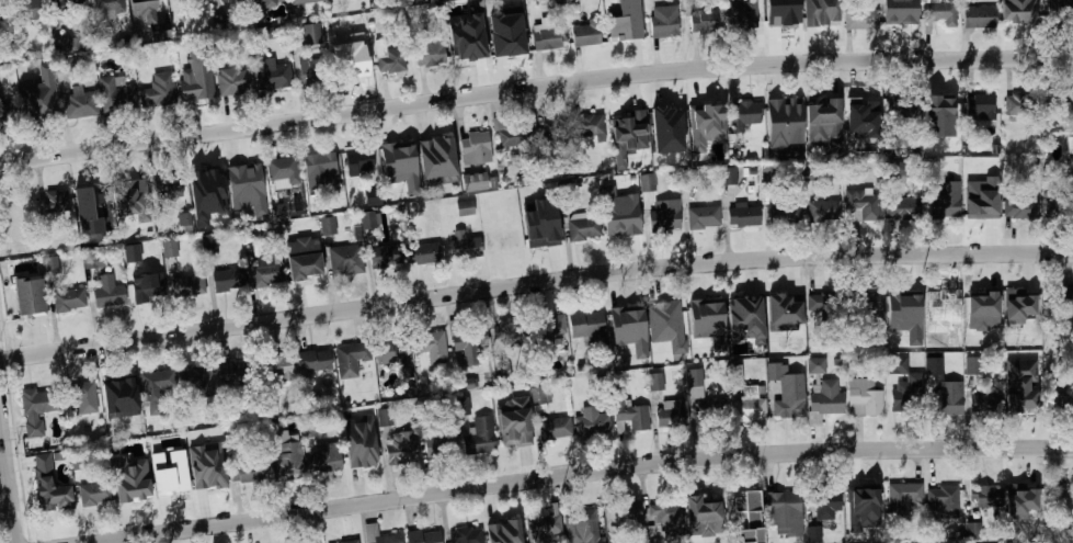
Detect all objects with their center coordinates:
building: (145, 2)
building: (264, 3)
building: (299, 3)
building: (1061, 4)
building: (66, 7)
building: (23, 8)
building: (109, 11)
building: (1016, 11)
building: (939, 13)
building: (741, 14)
building: (818, 14)
building: (900, 15)
building: (978, 15)
building: (780, 16)
building: (861, 19)
building: (700, 20)
building: (663, 22)
building: (624, 30)
building: (507, 34)
building: (310, 35)
building: (585, 36)
building: (467, 37)
building: (527, 41)
building: (62, 43)
building: (431, 53)
building: (386, 58)
building: (65, 65)
building: (352, 65)
building: (310, 69)
building: (272, 76)
building: (232, 80)
road: (534, 84)
building: (194, 87)
building: (158, 90)
building: (115, 93)
building: (34, 102)
building: (80, 104)
building: (865, 104)
building: (1017, 104)
building: (979, 105)
building: (939, 106)
building: (821, 108)
building: (899, 108)
building: (1061, 111)
building: (746, 112)
building: (703, 114)
building: (1, 116)
building: (628, 123)
building: (781, 123)
building: (587, 126)
building: (667, 129)
building: (550, 133)
building: (509, 135)
building: (475, 148)
building: (436, 152)
building: (1071, 155)
building: (397, 156)
building: (357, 160)
building: (320, 165)
building: (810, 171)
building: (282, 172)
building: (895, 173)
building: (242, 174)
building: (728, 174)
building: (476, 181)
building: (646, 182)
building: (206, 184)
building: (168, 186)
building: (129, 193)
building: (373, 196)
building: (90, 197)
building: (524, 197)
building: (944, 200)
building: (52, 203)
building: (860, 204)
building: (1052, 204)
building: (981, 206)
building: (465, 207)
building: (903, 207)
building: (1019, 208)
building: (281, 211)
building: (823, 211)
building: (783, 214)
building: (664, 215)
building: (742, 215)
building: (11, 216)
building: (703, 217)
building: (184, 218)
building: (368, 219)
building: (623, 222)
building: (328, 225)
building: (582, 228)
building: (545, 235)
building: (501, 241)
building: (208, 244)
building: (463, 246)
building: (170, 248)
building: (130, 253)
building: (422, 254)
building: (385, 256)
building: (94, 259)
building: (344, 260)
building: (50, 264)
building: (305, 264)
building: (265, 271)
building: (227, 281)
road: (534, 283)
building: (187, 285)
building: (147, 286)
building: (107, 292)
building: (1064, 292)
building: (983, 295)
building: (22, 296)
building: (1020, 297)
building: (68, 299)
building: (941, 301)
building: (904, 303)
building: (866, 304)
building: (824, 305)
building: (783, 306)
building: (705, 309)
building: (738, 313)
building: (670, 318)
building: (586, 326)
building: (630, 329)
building: (549, 330)
building: (509, 332)
building: (465, 340)
building: (933, 340)
building: (431, 347)
building: (390, 351)
building: (350, 359)
building: (312, 361)
building: (897, 364)
building: (815, 365)
building: (934, 365)
building: (972, 365)
building: (277, 367)
building: (230, 373)
building: (196, 378)
building: (657, 381)
building: (695, 384)
building: (155, 386)
building: (118, 387)
building: (906, 391)
building: (540, 395)
building: (83, 397)
building: (863, 397)
building: (823, 399)
building: (499, 400)
building: (1061, 401)
building: (1019, 403)
building: (37, 404)
building: (906, 404)
building: (946, 405)
building: (270, 406)
building: (460, 406)
building: (979, 406)
building: (788, 408)
building: (747, 409)
building: (629, 414)
building: (674, 414)
building: (708, 414)
building: (386, 417)
building: (345, 421)
building: (591, 423)
building: (553, 428)
building: (517, 434)
building: (479, 437)
building: (437, 440)
building: (155, 449)
building: (400, 452)
building: (281, 453)
building: (363, 455)
building: (323, 457)
building: (77, 461)
building: (244, 468)
road: (581, 471)
building: (168, 477)
building: (130, 479)
building: (206, 479)
building: (1057, 483)
road: (8, 484)
building: (48, 485)
building: (94, 494)
building: (1020, 495)
building: (861, 496)
building: (985, 496)
building: (901, 498)
building: (943, 500)
building: (826, 501)
building: (783, 504)
building: (701, 507)
building: (746, 518)
building: (628, 519)
building: (664, 521)
building: (544, 524)
building: (581, 527)
building: (372, 529)
building: (973, 530)
building: (500, 532)
building: (1071, 532)
building: (813, 534)
building: (463, 535)
building: (422, 536)
building: (352, 542)

